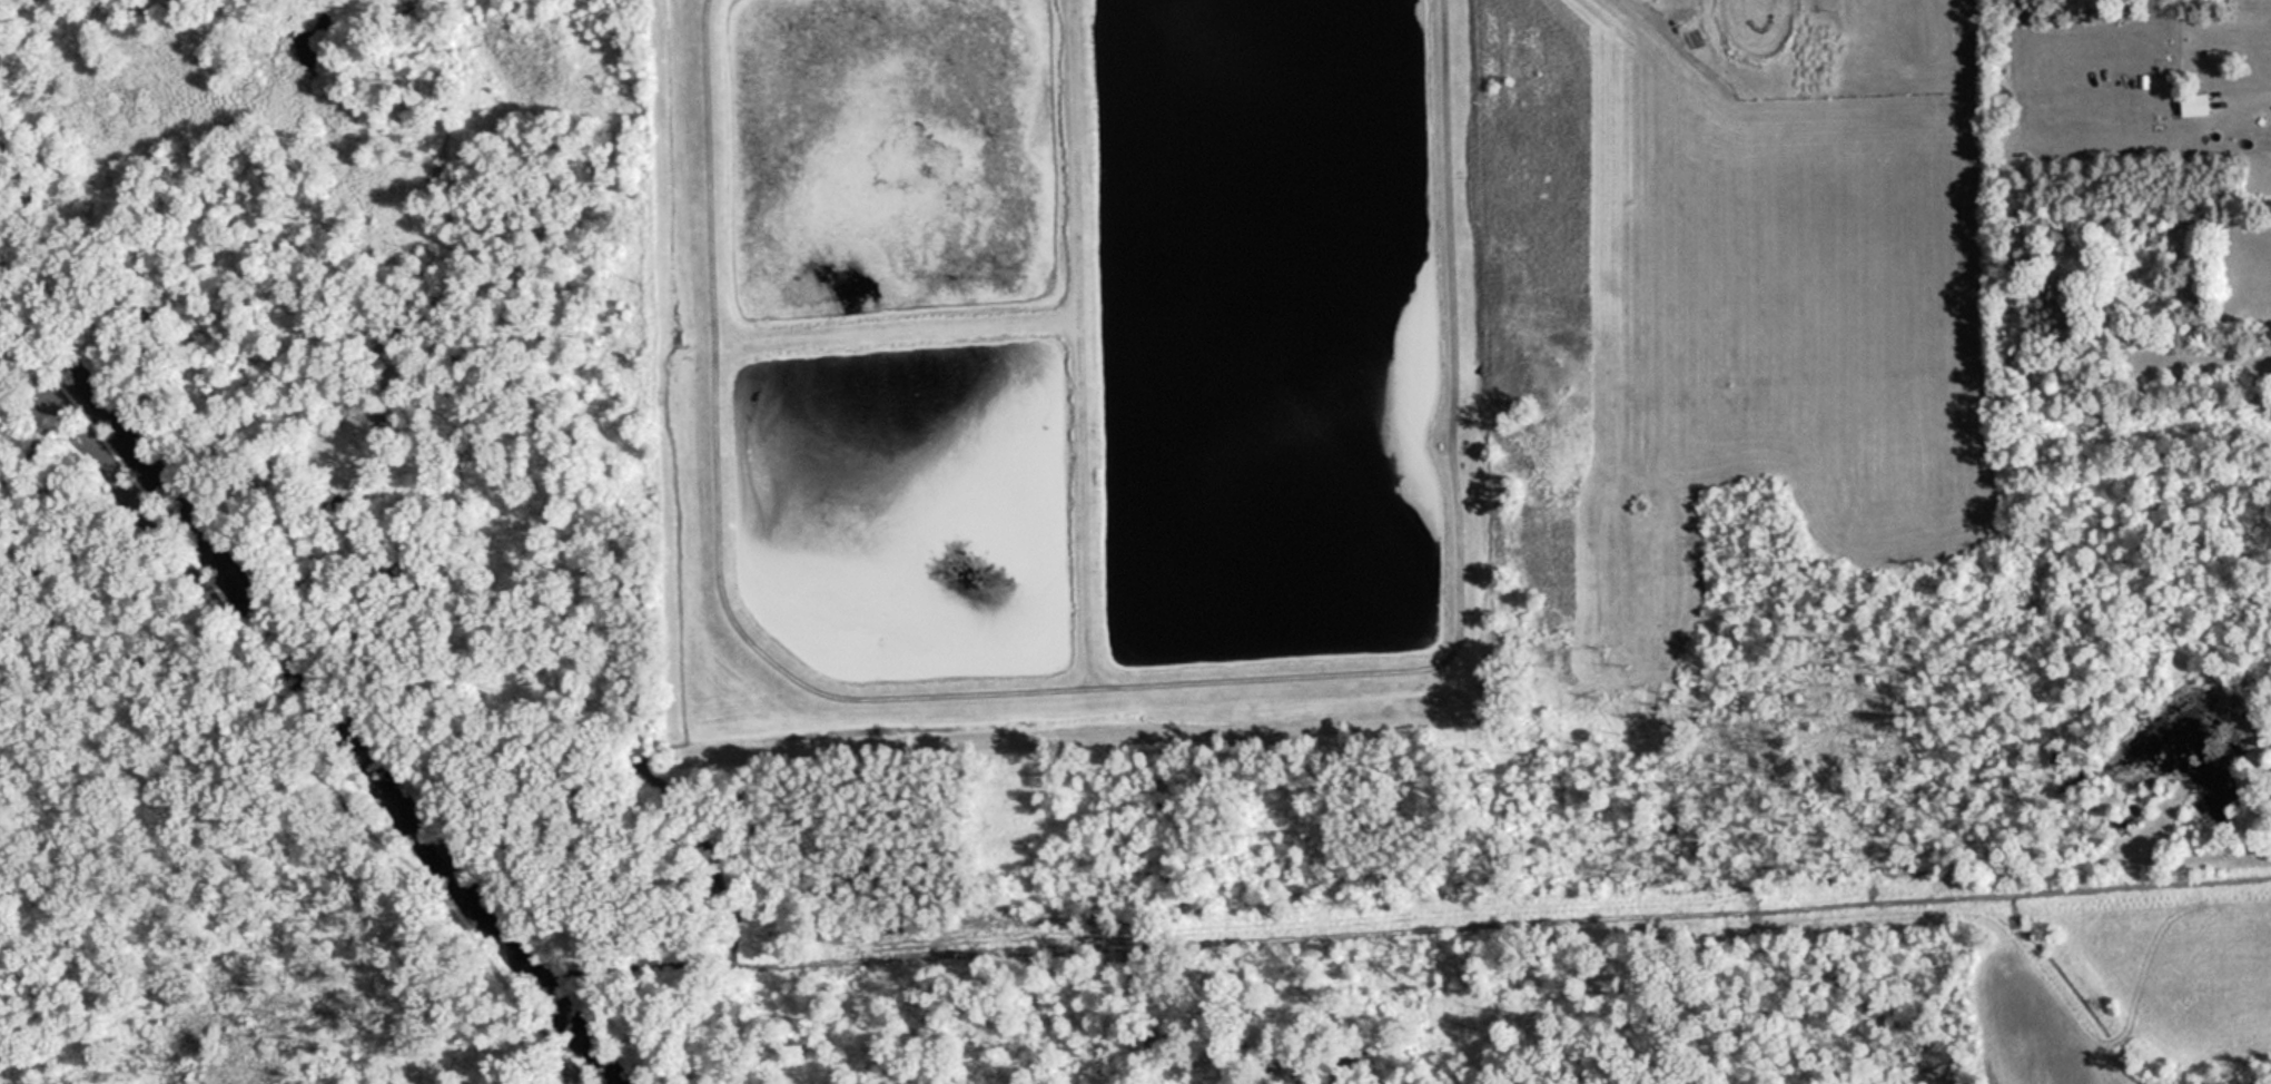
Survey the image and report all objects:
river: (310, 680)
building: (2270, 797)

